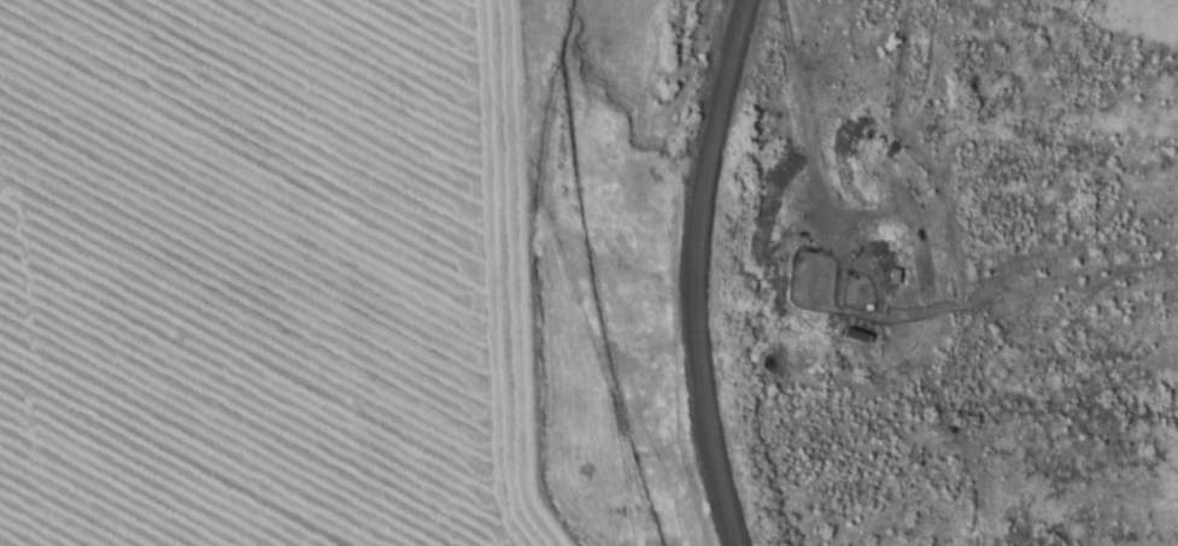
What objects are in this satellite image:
road: (714, 270)
building: (816, 303)

